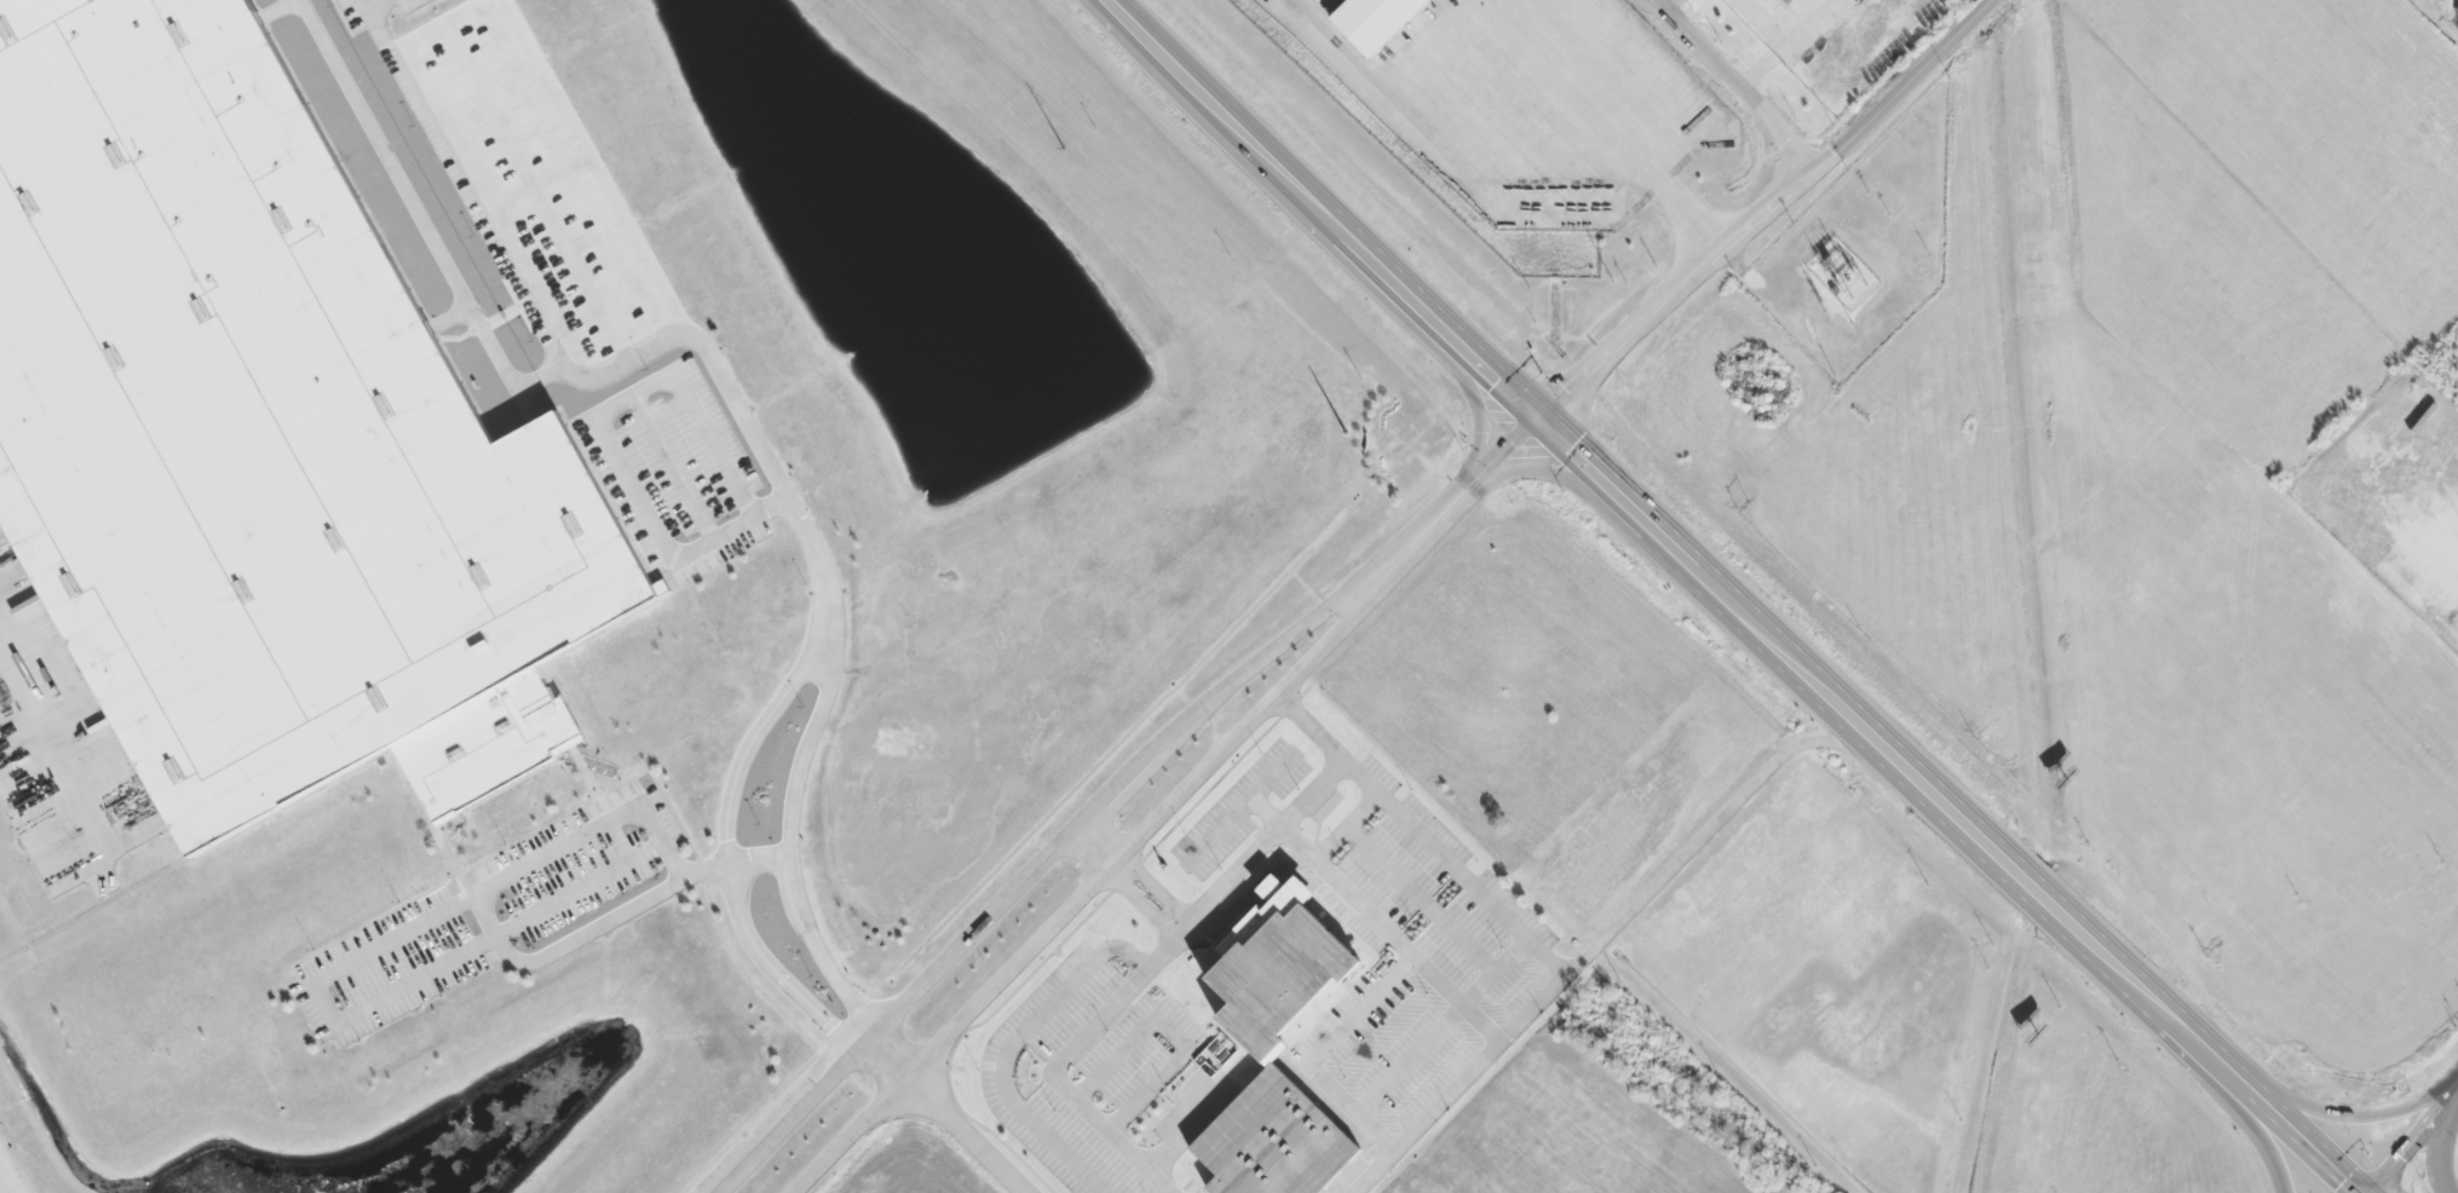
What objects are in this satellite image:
building: (1781, 1)
road: (1112, 6)
building: (1372, 21)
road: (1733, 86)
road: (1222, 114)
power substation: (1842, 273)
road: (1673, 294)
power tower: (1825, 311)
road: (1429, 315)
traffic signals: (1531, 416)
building: (248, 427)
road: (776, 482)
road: (1945, 802)
road: (788, 865)
road: (724, 877)
road: (1023, 878)
road: (1080, 898)
road: (1604, 932)
building: (1278, 963)
road: (2354, 1123)
road: (966, 1135)
building: (1273, 1140)
road: (2416, 1141)
road: (2276, 1146)
road: (2443, 1147)
road: (5, 1185)

